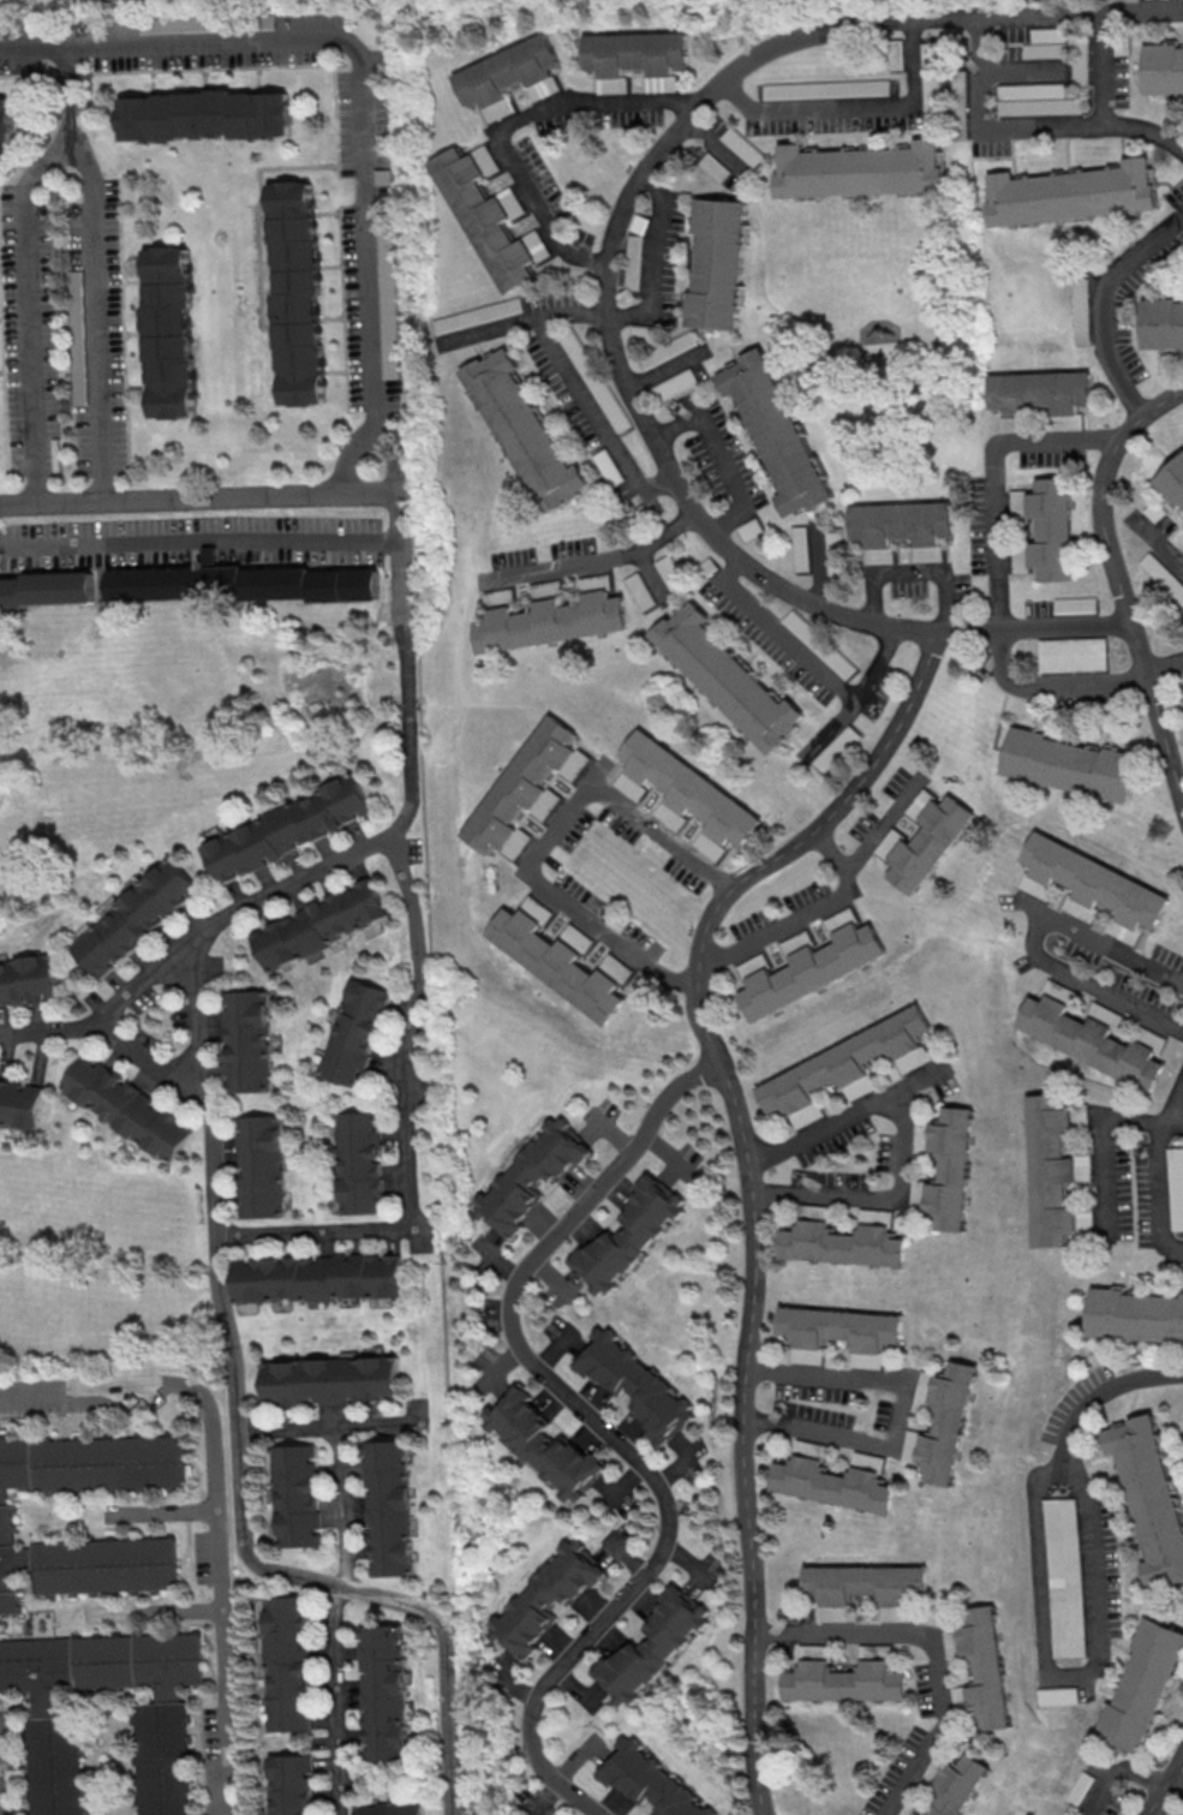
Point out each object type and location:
building: (1044, 42)
road: (36, 52)
building: (634, 52)
building: (1079, 59)
building: (1163, 67)
building: (506, 70)
road: (1101, 71)
building: (930, 76)
road: (1026, 77)
building: (862, 88)
building: (1034, 98)
road: (858, 111)
building: (204, 114)
building: (6, 120)
road: (508, 124)
road: (366, 130)
road: (986, 131)
building: (859, 168)
building: (1071, 192)
building: (484, 217)
building: (715, 262)
road: (100, 276)
building: (386, 280)
building: (295, 292)
road: (1107, 303)
building: (1079, 309)
building: (476, 315)
road: (35, 316)
road: (619, 317)
building: (1161, 322)
road: (613, 332)
building: (169, 333)
road: (669, 374)
building: (1039, 392)
road: (596, 418)
building: (1010, 424)
building: (520, 430)
building: (775, 431)
road: (721, 462)
building: (1171, 480)
road: (657, 490)
road: (197, 503)
building: (902, 521)
road: (396, 524)
building: (1052, 529)
road: (1160, 544)
building: (799, 548)
road: (198, 551)
road: (592, 566)
road: (820, 568)
road: (916, 571)
road: (999, 574)
building: (1161, 579)
road: (657, 580)
road: (1117, 580)
building: (593, 581)
building: (237, 583)
building: (44, 589)
building: (544, 589)
building: (639, 590)
building: (495, 597)
building: (1075, 604)
building: (551, 621)
road: (400, 626)
road: (779, 634)
building: (1073, 653)
road: (1163, 668)
building: (728, 677)
road: (853, 699)
building: (834, 748)
park: (104, 756)
building: (1070, 764)
building: (521, 783)
building: (688, 788)
road: (882, 822)
building: (283, 830)
building: (928, 842)
road: (546, 843)
building: (1093, 882)
road: (803, 911)
building: (135, 917)
building: (319, 924)
road: (1098, 943)
building: (556, 962)
building: (811, 971)
building: (28, 979)
road: (1111, 997)
road: (114, 1019)
building: (353, 1032)
road: (416, 1037)
building: (245, 1040)
building: (1091, 1041)
building: (849, 1061)
road: (160, 1068)
building: (20, 1103)
road: (1173, 1105)
building: (126, 1106)
road: (849, 1115)
road: (1095, 1139)
building: (359, 1162)
building: (259, 1165)
building: (948, 1168)
building: (1045, 1168)
building: (530, 1174)
road: (752, 1177)
building: (1172, 1186)
road: (1155, 1187)
road: (883, 1199)
building: (815, 1210)
building: (628, 1235)
road: (319, 1242)
building: (843, 1242)
road: (1171, 1250)
road: (223, 1268)
building: (317, 1277)
building: (1133, 1314)
building: (838, 1327)
building: (329, 1379)
building: (635, 1383)
road: (1101, 1391)
road: (900, 1410)
road: (331, 1421)
building: (949, 1422)
road: (601, 1431)
building: (539, 1441)
building: (834, 1483)
building: (295, 1495)
building: (1149, 1495)
road: (219, 1501)
building: (388, 1507)
building: (5, 1514)
road: (165, 1517)
building: (1062, 1576)
building: (865, 1583)
building: (543, 1599)
road: (181, 1616)
road: (337, 1616)
building: (651, 1644)
road: (933, 1648)
building: (285, 1662)
building: (984, 1670)
road: (1058, 1676)
building: (844, 1679)
building: (1140, 1683)
building: (382, 1691)
building: (1053, 1695)
building: (49, 1751)
road: (1123, 1772)
road: (0, 1780)
building: (647, 1780)
road: (1164, 1780)
building: (288, 1784)
building: (956, 1785)
building: (1076, 1787)
building: (388, 1808)
building: (1173, 1814)

